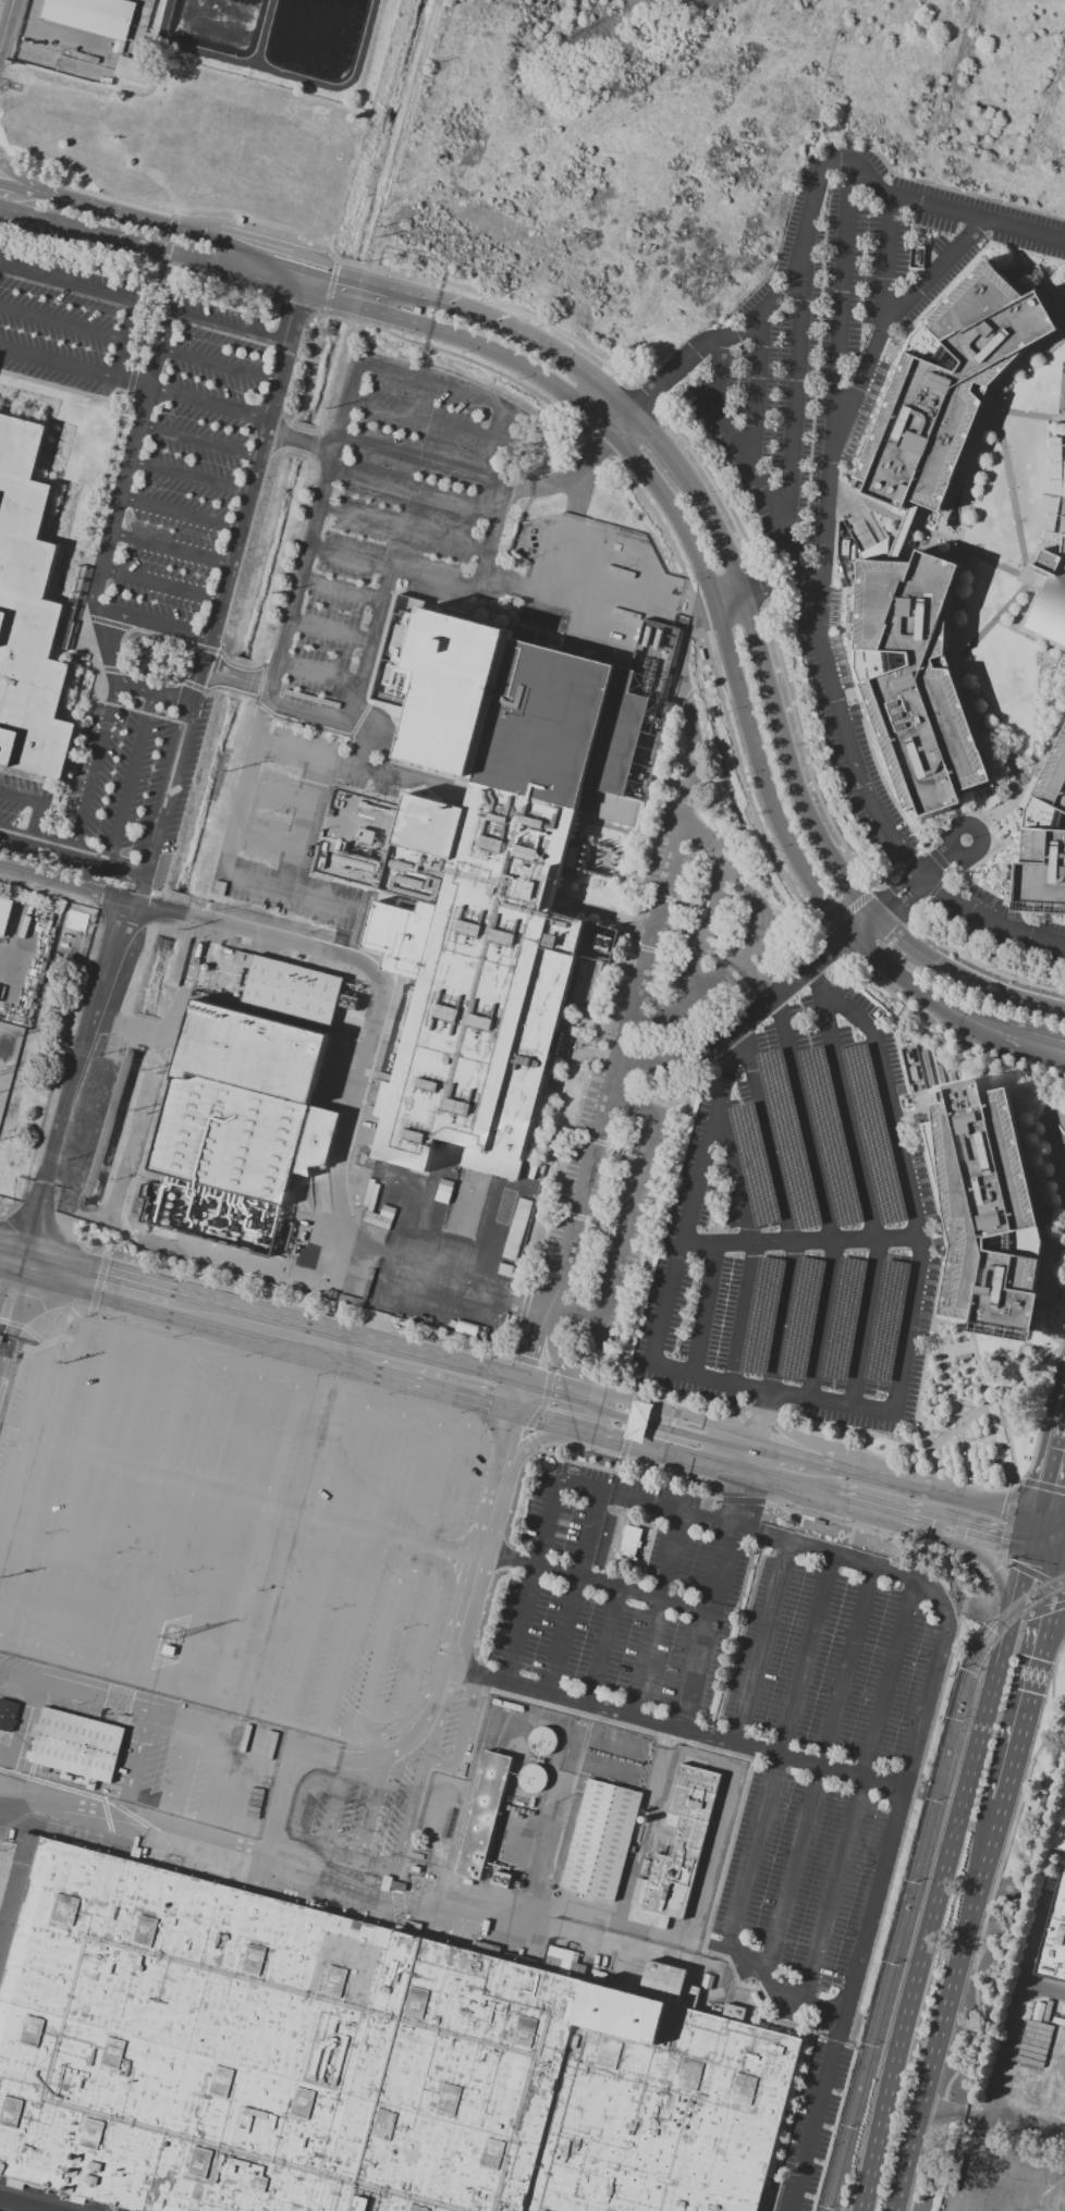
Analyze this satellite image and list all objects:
building: (95, 16)
road: (7, 25)
building: (130, 69)
road: (21, 186)
road: (5, 201)
road: (157, 241)
road: (889, 257)
building: (1029, 280)
park: (1064, 280)
road: (346, 283)
building: (1056, 287)
road: (136, 303)
road: (842, 305)
road: (130, 322)
road: (62, 325)
road: (521, 332)
road: (467, 340)
road: (280, 344)
road: (120, 360)
road: (58, 363)
road: (210, 365)
road: (676, 372)
road: (270, 380)
building: (956, 380)
road: (441, 386)
road: (758, 386)
road: (796, 394)
park: (1063, 394)
road: (857, 395)
parking lot: (834, 401)
road: (201, 402)
road: (261, 419)
road: (625, 421)
road: (430, 422)
road: (192, 438)
road: (660, 440)
road: (301, 442)
road: (252, 453)
road: (421, 458)
road: (131, 459)
road: (750, 463)
road: (183, 475)
road: (570, 478)
road: (242, 491)
road: (579, 491)
road: (413, 493)
road: (500, 502)
road: (172, 511)
parking lot: (138, 518)
road: (232, 525)
road: (403, 530)
parking lot: (394, 532)
road: (310, 533)
road: (162, 546)
road: (222, 563)
road: (393, 567)
road: (152, 582)
road: (222, 591)
road: (340, 591)
road: (761, 594)
road: (212, 598)
building: (1052, 601)
building: (30, 607)
road: (146, 622)
road: (330, 631)
road: (203, 639)
road: (369, 646)
road: (319, 673)
road: (234, 676)
road: (117, 679)
road: (738, 679)
building: (919, 681)
road: (772, 697)
road: (311, 715)
road: (374, 733)
road: (362, 749)
road: (331, 761)
road: (95, 766)
road: (130, 776)
road: (244, 787)
road: (276, 791)
road: (21, 798)
road: (35, 824)
road: (299, 824)
road: (16, 835)
road: (265, 836)
road: (706, 839)
road: (946, 844)
building: (1046, 844)
road: (87, 856)
building: (489, 884)
road: (287, 892)
road: (710, 907)
parking lot: (726, 911)
building: (4, 913)
road: (183, 916)
road: (866, 923)
parking lot: (1003, 923)
road: (751, 932)
road: (895, 933)
road: (873, 949)
road: (689, 969)
road: (711, 973)
road: (784, 990)
road: (987, 990)
building: (289, 992)
road: (944, 1000)
road: (635, 1008)
road: (664, 1010)
road: (1032, 1033)
road: (743, 1036)
power substation: (7, 1052)
road: (670, 1060)
road: (72, 1084)
building: (241, 1107)
road: (348, 1119)
road: (906, 1178)
road: (864, 1187)
road: (822, 1196)
building: (987, 1209)
road: (624, 1217)
building: (516, 1227)
parking lot: (800, 1227)
building: (154, 1230)
road: (801, 1243)
road: (751, 1245)
road: (232, 1257)
road: (10, 1267)
road: (441, 1275)
road: (10, 1281)
road: (705, 1310)
road: (262, 1312)
road: (16, 1317)
road: (69, 1318)
road: (268, 1341)
road: (584, 1389)
road: (772, 1390)
road: (579, 1404)
building: (637, 1420)
road: (700, 1420)
road: (574, 1427)
road: (760, 1432)
road: (24, 1435)
road: (696, 1437)
road: (1051, 1465)
road: (897, 1481)
road: (780, 1482)
road: (1018, 1483)
road: (1043, 1485)
road: (252, 1497)
traffic signals: (1039, 1516)
road: (1052, 1519)
road: (1005, 1532)
road: (1035, 1534)
road: (768, 1536)
road: (980, 1536)
road: (483, 1539)
building: (633, 1544)
road: (1048, 1559)
road: (1032, 1573)
road: (999, 1577)
road: (595, 1581)
road: (530, 1582)
road: (573, 1593)
road: (712, 1599)
road: (1016, 1609)
road: (1052, 1611)
parking lot: (463, 1613)
road: (654, 1613)
road: (345, 1629)
road: (1052, 1641)
road: (761, 1642)
road: (602, 1645)
road: (417, 1650)
road: (158, 1685)
road: (362, 1693)
road: (440, 1702)
building: (7, 1715)
road: (676, 1727)
road: (1021, 1730)
building: (235, 1735)
road: (460, 1736)
building: (259, 1742)
building: (75, 1744)
road: (780, 1751)
road: (313, 1757)
road: (819, 1768)
building: (531, 1778)
road: (857, 1791)
road: (296, 1803)
road: (374, 1806)
road: (333, 1814)
building: (483, 1818)
road: (407, 1819)
building: (681, 1843)
building: (599, 1844)
road: (257, 1850)
railway: (913, 1874)
railway: (921, 1881)
road: (868, 1919)
building: (1051, 1928)
road: (927, 1938)
road: (772, 1987)
road: (947, 2006)
road: (1009, 2036)
building: (351, 2064)
road: (993, 2122)
road: (968, 2164)
road: (20, 2206)

